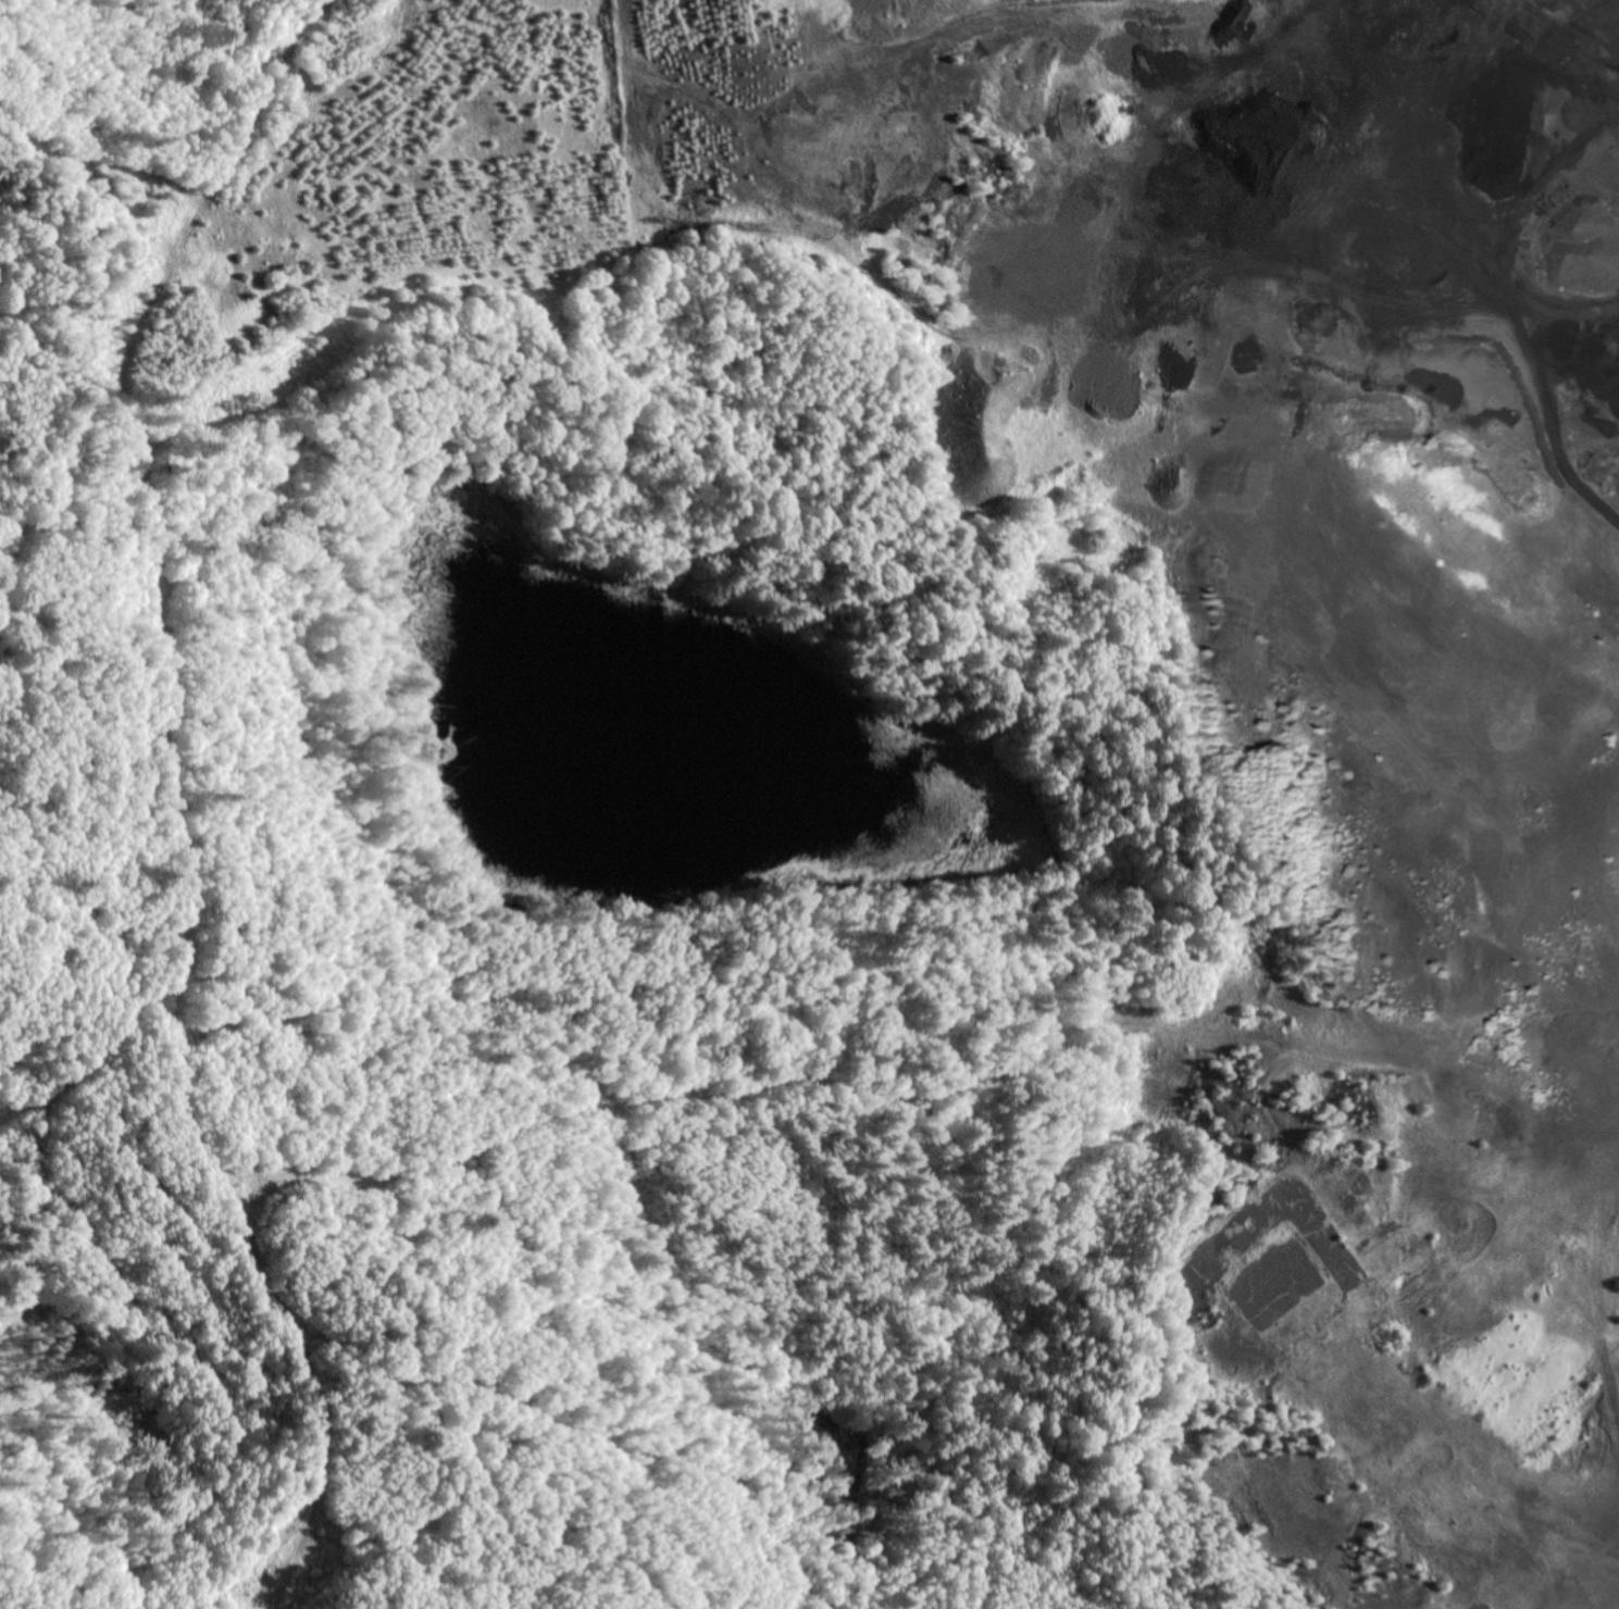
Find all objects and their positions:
road: (1475, 283)
quarry: (1175, 619)
road: (175, 798)
quarry: (809, 804)

